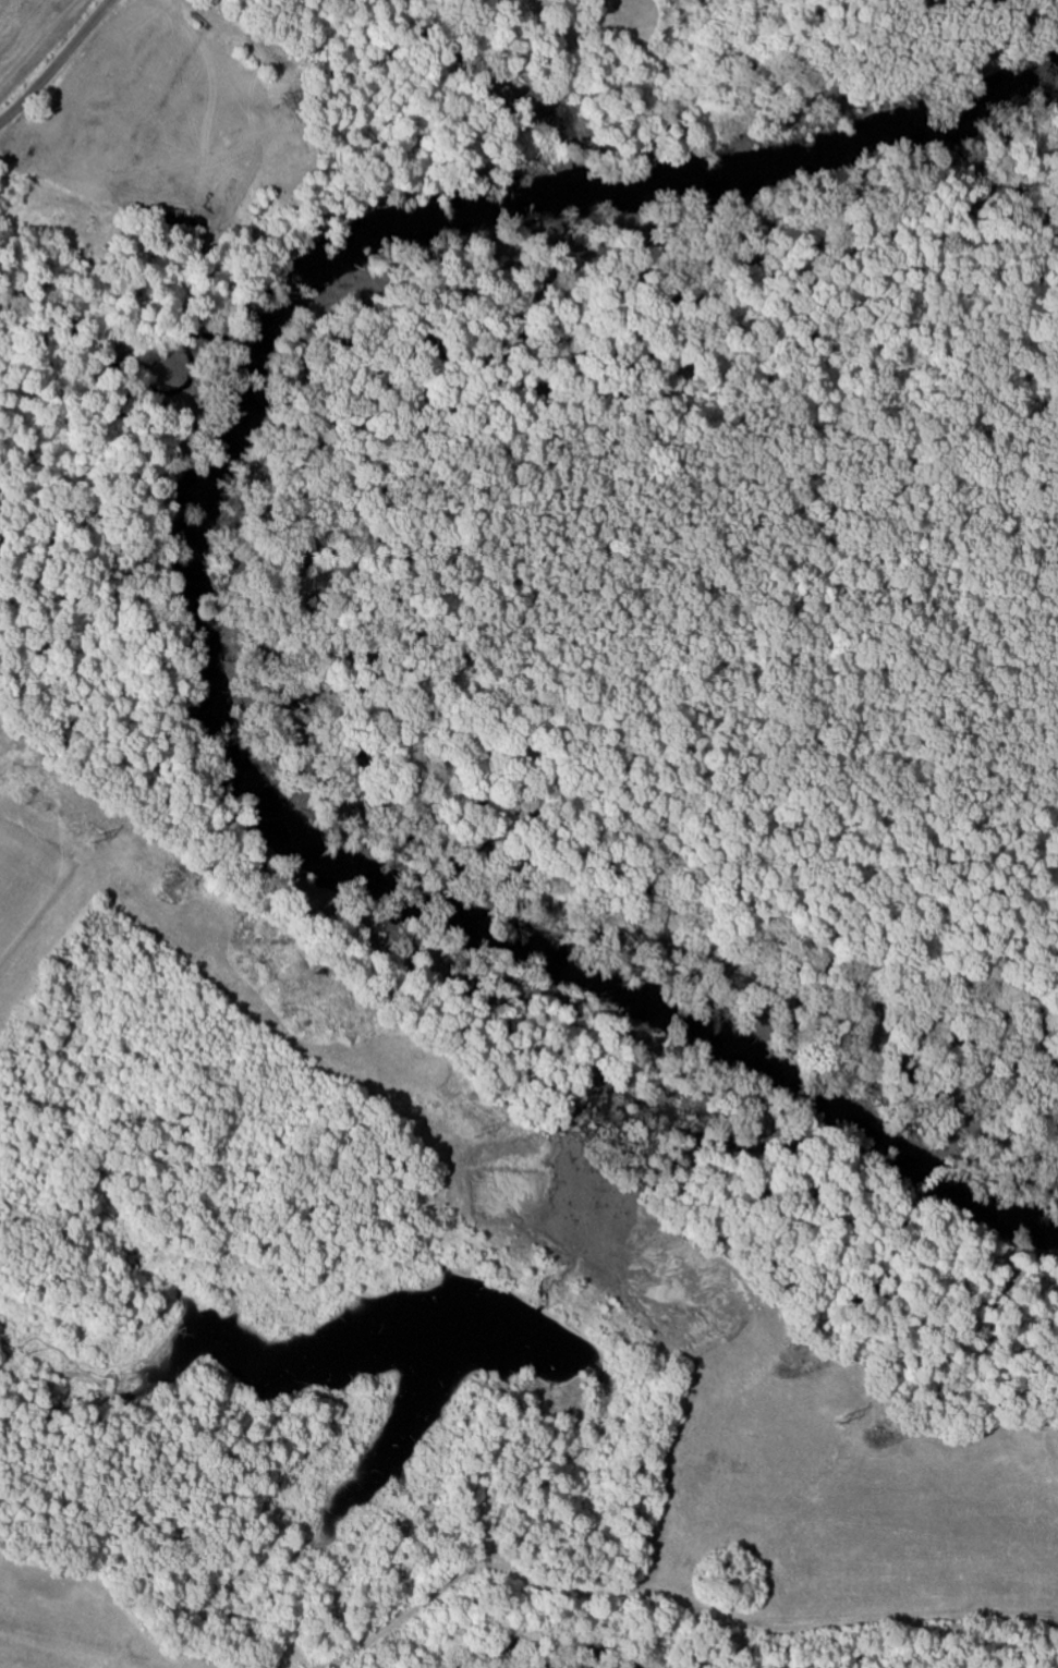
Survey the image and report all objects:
road: (54, 62)
river: (200, 586)
river: (568, 1666)

